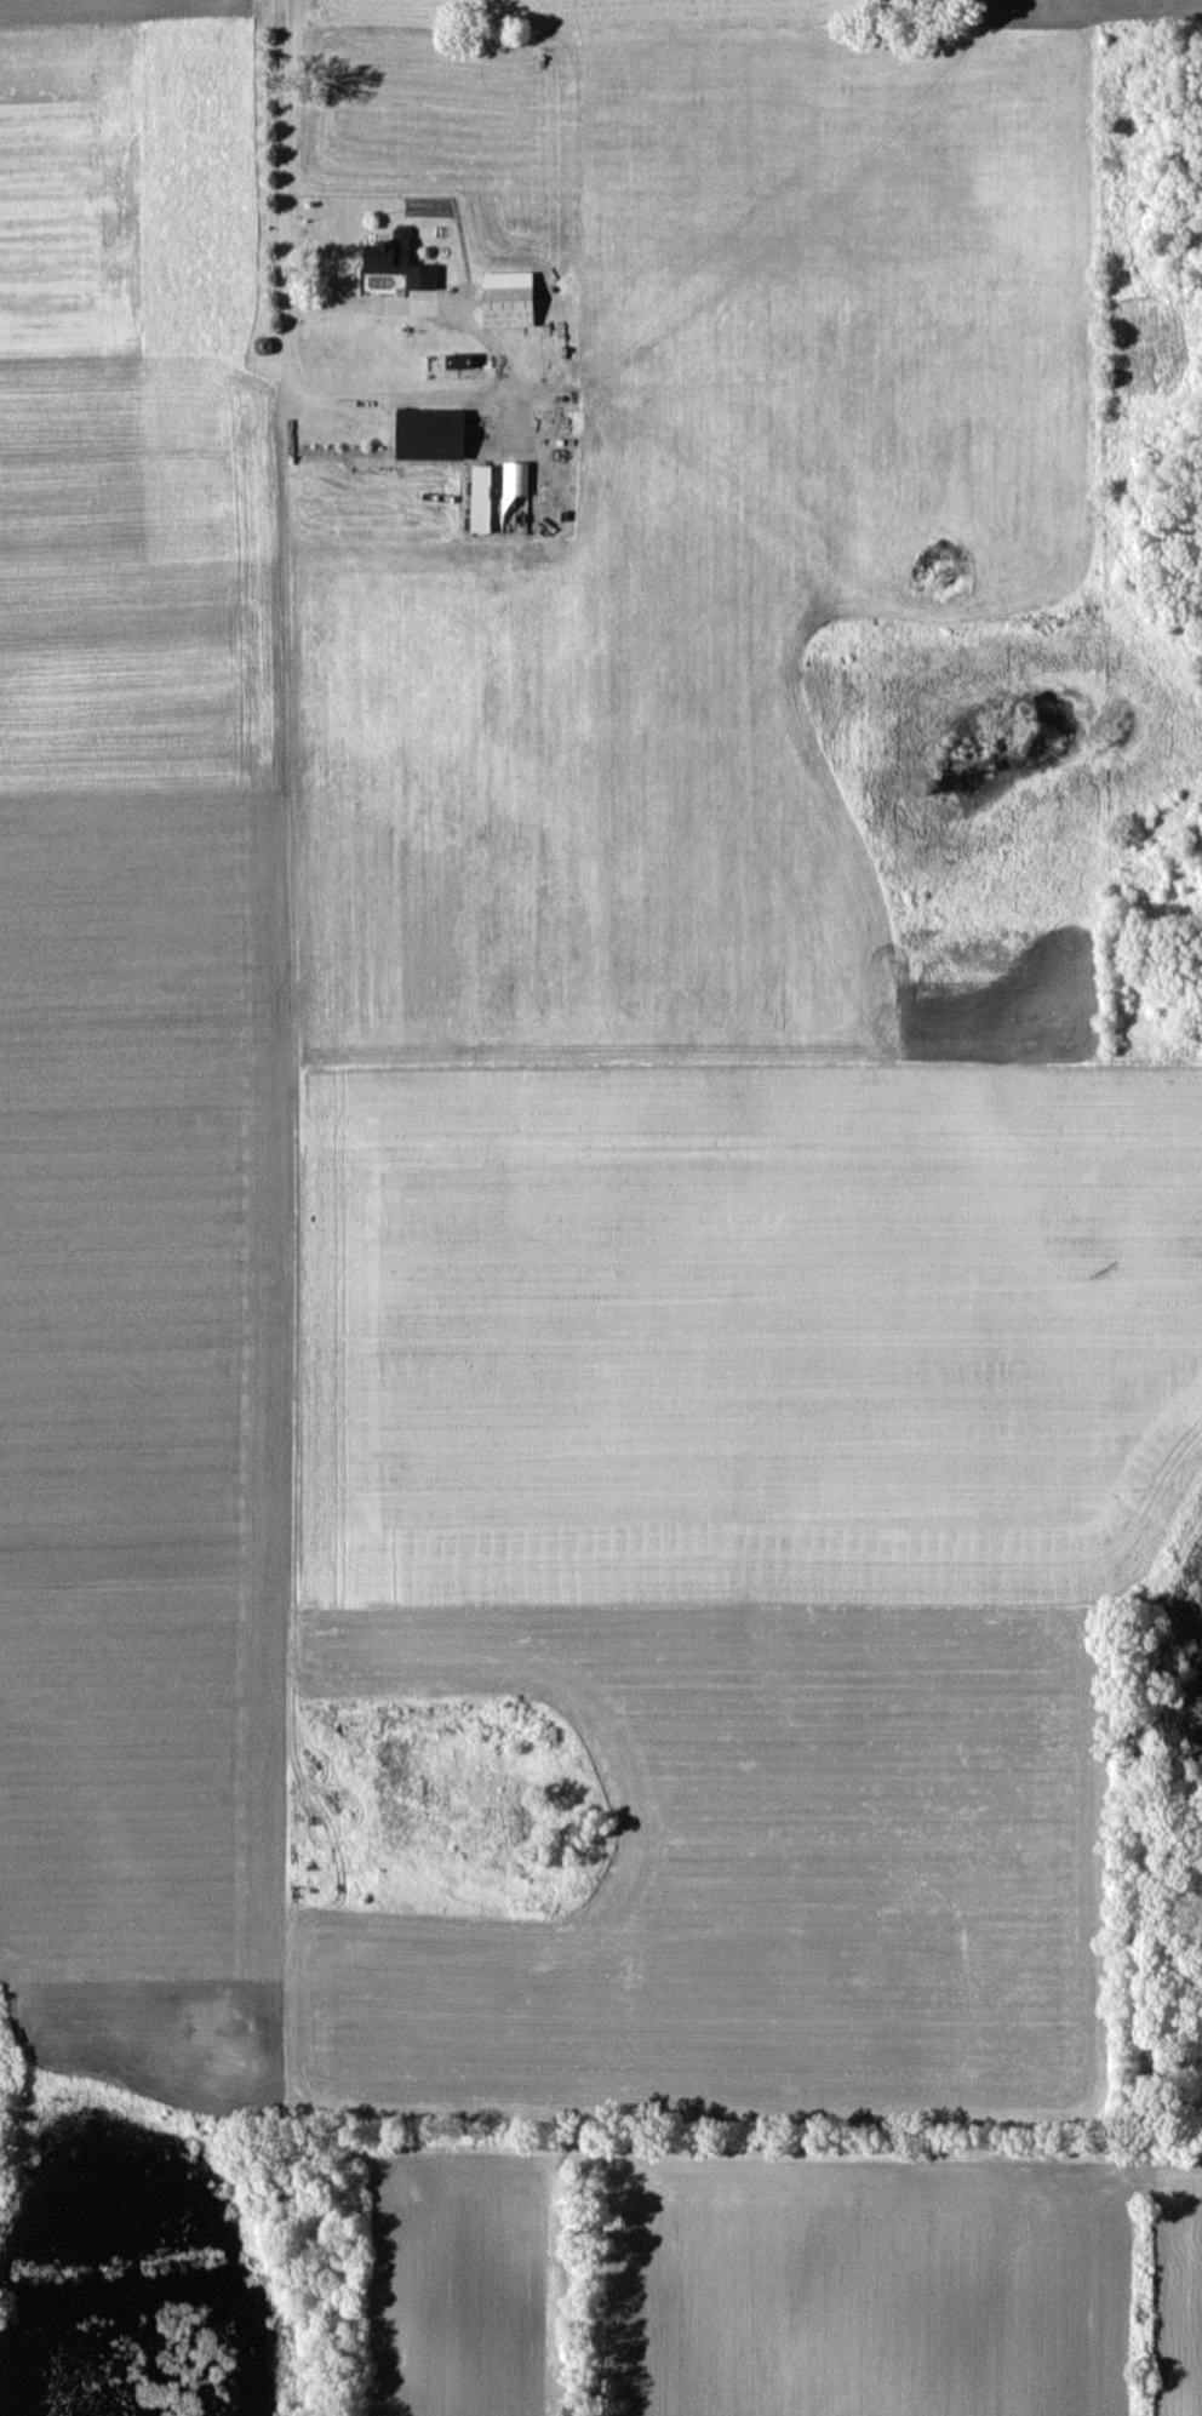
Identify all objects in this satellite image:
road: (287, 153)
building: (396, 250)
building: (513, 298)
road: (491, 390)
building: (435, 433)
building: (485, 497)

